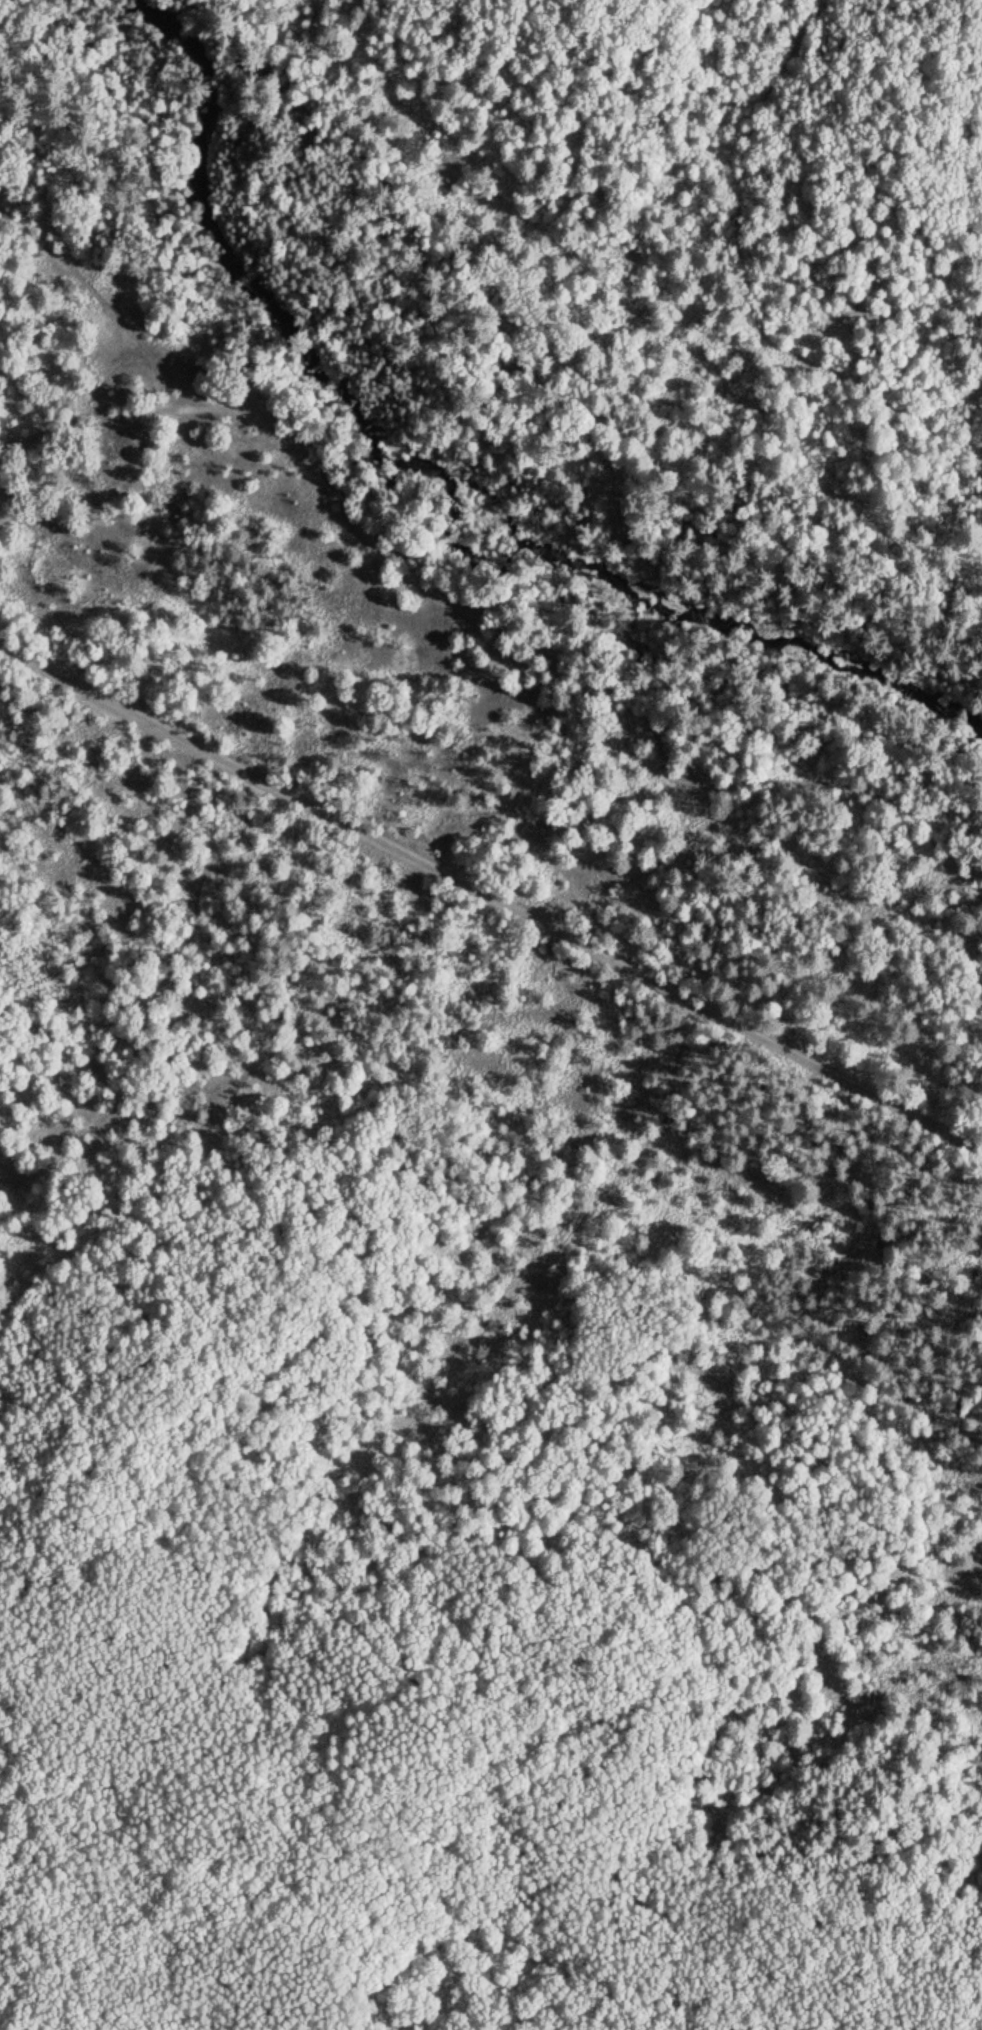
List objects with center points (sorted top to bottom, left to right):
road: (751, 165)
road: (109, 310)
road: (753, 345)
road: (492, 624)
road: (491, 892)
road: (153, 994)
road: (795, 1772)

